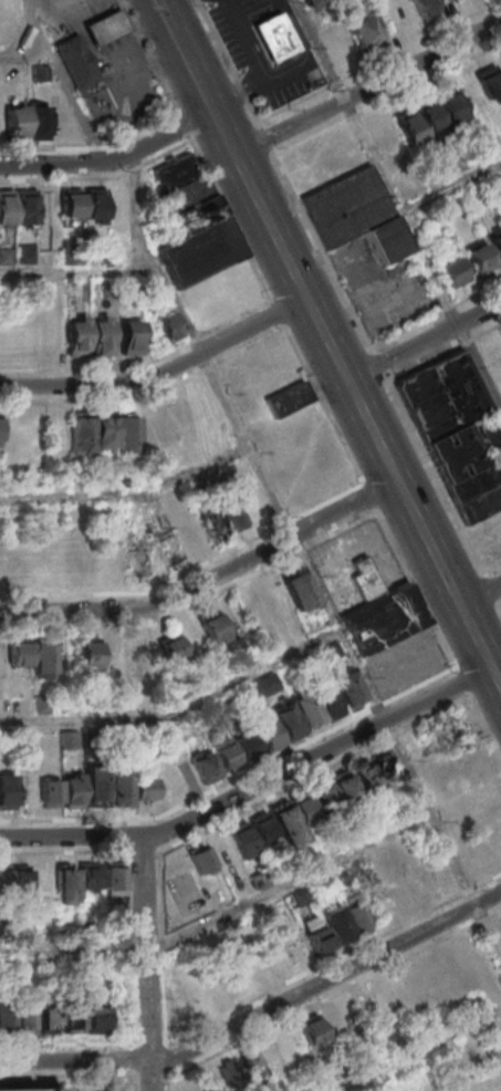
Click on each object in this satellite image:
building: (310, 2)
road: (96, 8)
building: (427, 9)
building: (393, 15)
road: (170, 24)
building: (106, 25)
road: (106, 25)
building: (363, 31)
building: (276, 37)
road: (219, 45)
building: (338, 45)
parking lot: (254, 49)
road: (24, 54)
road: (149, 58)
road: (379, 63)
road: (262, 66)
road: (137, 71)
building: (84, 74)
gas station: (84, 74)
road: (62, 81)
road: (367, 87)
road: (387, 98)
parking lot: (133, 100)
building: (449, 104)
road: (251, 111)
building: (28, 121)
road: (184, 126)
building: (385, 138)
road: (267, 141)
road: (92, 147)
road: (113, 160)
building: (175, 172)
road: (100, 177)
road: (451, 187)
building: (178, 197)
building: (84, 204)
road: (397, 204)
building: (7, 206)
building: (28, 207)
building: (197, 214)
building: (357, 215)
road: (231, 219)
building: (495, 242)
building: (199, 251)
road: (322, 251)
building: (479, 258)
building: (453, 271)
road: (77, 272)
road: (279, 312)
building: (168, 325)
building: (76, 335)
building: (101, 335)
building: (131, 335)
road: (223, 340)
road: (424, 340)
road: (143, 365)
road: (342, 367)
road: (70, 383)
building: (288, 397)
building: (163, 424)
building: (457, 430)
building: (105, 432)
building: (0, 433)
road: (343, 443)
road: (128, 495)
road: (369, 497)
building: (213, 523)
building: (160, 539)
road: (272, 545)
road: (303, 558)
building: (140, 567)
building: (364, 578)
building: (300, 590)
road: (480, 593)
road: (72, 609)
building: (257, 609)
building: (383, 619)
road: (435, 626)
building: (213, 627)
building: (174, 650)
building: (138, 651)
building: (331, 651)
building: (88, 652)
building: (33, 656)
building: (262, 687)
building: (347, 687)
building: (314, 706)
road: (178, 714)
building: (286, 720)
building: (439, 730)
building: (267, 734)
building: (71, 739)
building: (247, 746)
building: (225, 755)
road: (346, 757)
building: (385, 765)
building: (206, 767)
building: (365, 777)
road: (253, 785)
building: (107, 787)
building: (344, 787)
building: (147, 788)
building: (7, 790)
building: (62, 791)
building: (324, 796)
building: (293, 818)
building: (251, 833)
road: (81, 850)
building: (200, 858)
building: (14, 876)
building: (75, 880)
building: (114, 880)
building: (398, 893)
road: (127, 896)
road: (222, 915)
building: (328, 931)
road: (147, 962)
road: (333, 993)
road: (249, 998)
road: (259, 1011)
building: (18, 1017)
building: (73, 1017)
building: (312, 1032)
road: (115, 1041)
road: (149, 1041)
road: (418, 1048)
road: (166, 1057)
road: (135, 1066)
building: (244, 1067)
road: (82, 1074)
road: (166, 1082)
building: (52, 1090)

